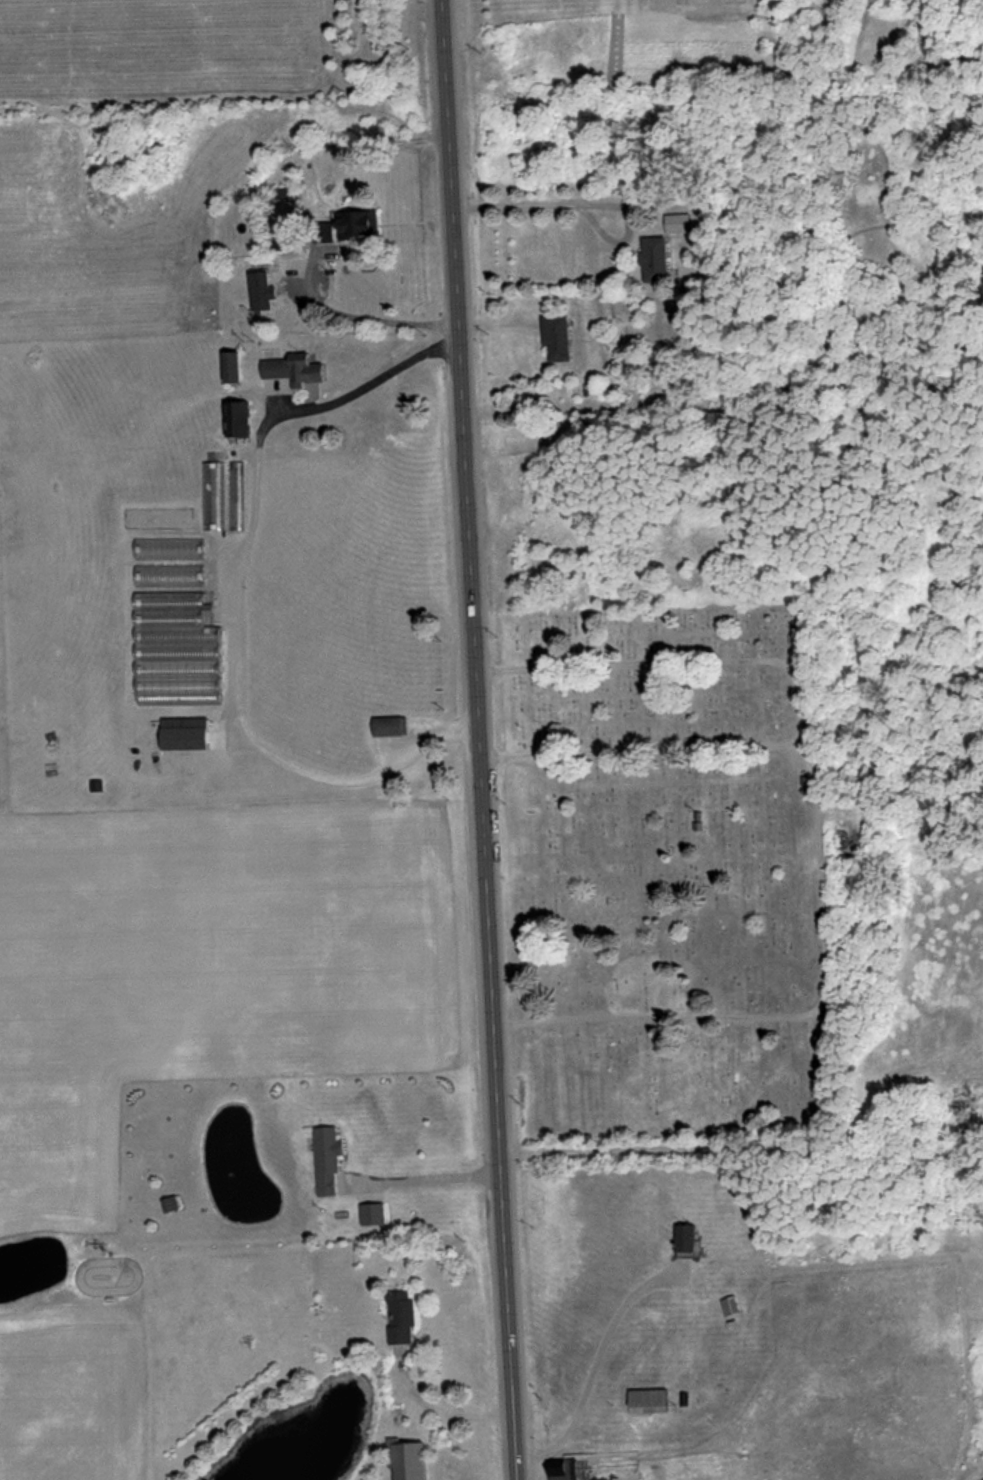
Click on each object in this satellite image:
building: (364, 225)
building: (677, 225)
building: (287, 242)
building: (656, 260)
building: (841, 330)
building: (560, 338)
building: (239, 368)
building: (300, 370)
building: (245, 420)
building: (719, 423)
building: (217, 496)
building: (241, 497)
building: (172, 549)
building: (172, 576)
building: (181, 652)
road: (805, 704)
building: (392, 727)
building: (190, 735)
road: (477, 740)
park: (664, 869)
road: (797, 1016)
building: (176, 1206)
building: (692, 1243)
building: (733, 1308)
building: (408, 1320)
building: (653, 1403)
building: (567, 1470)

